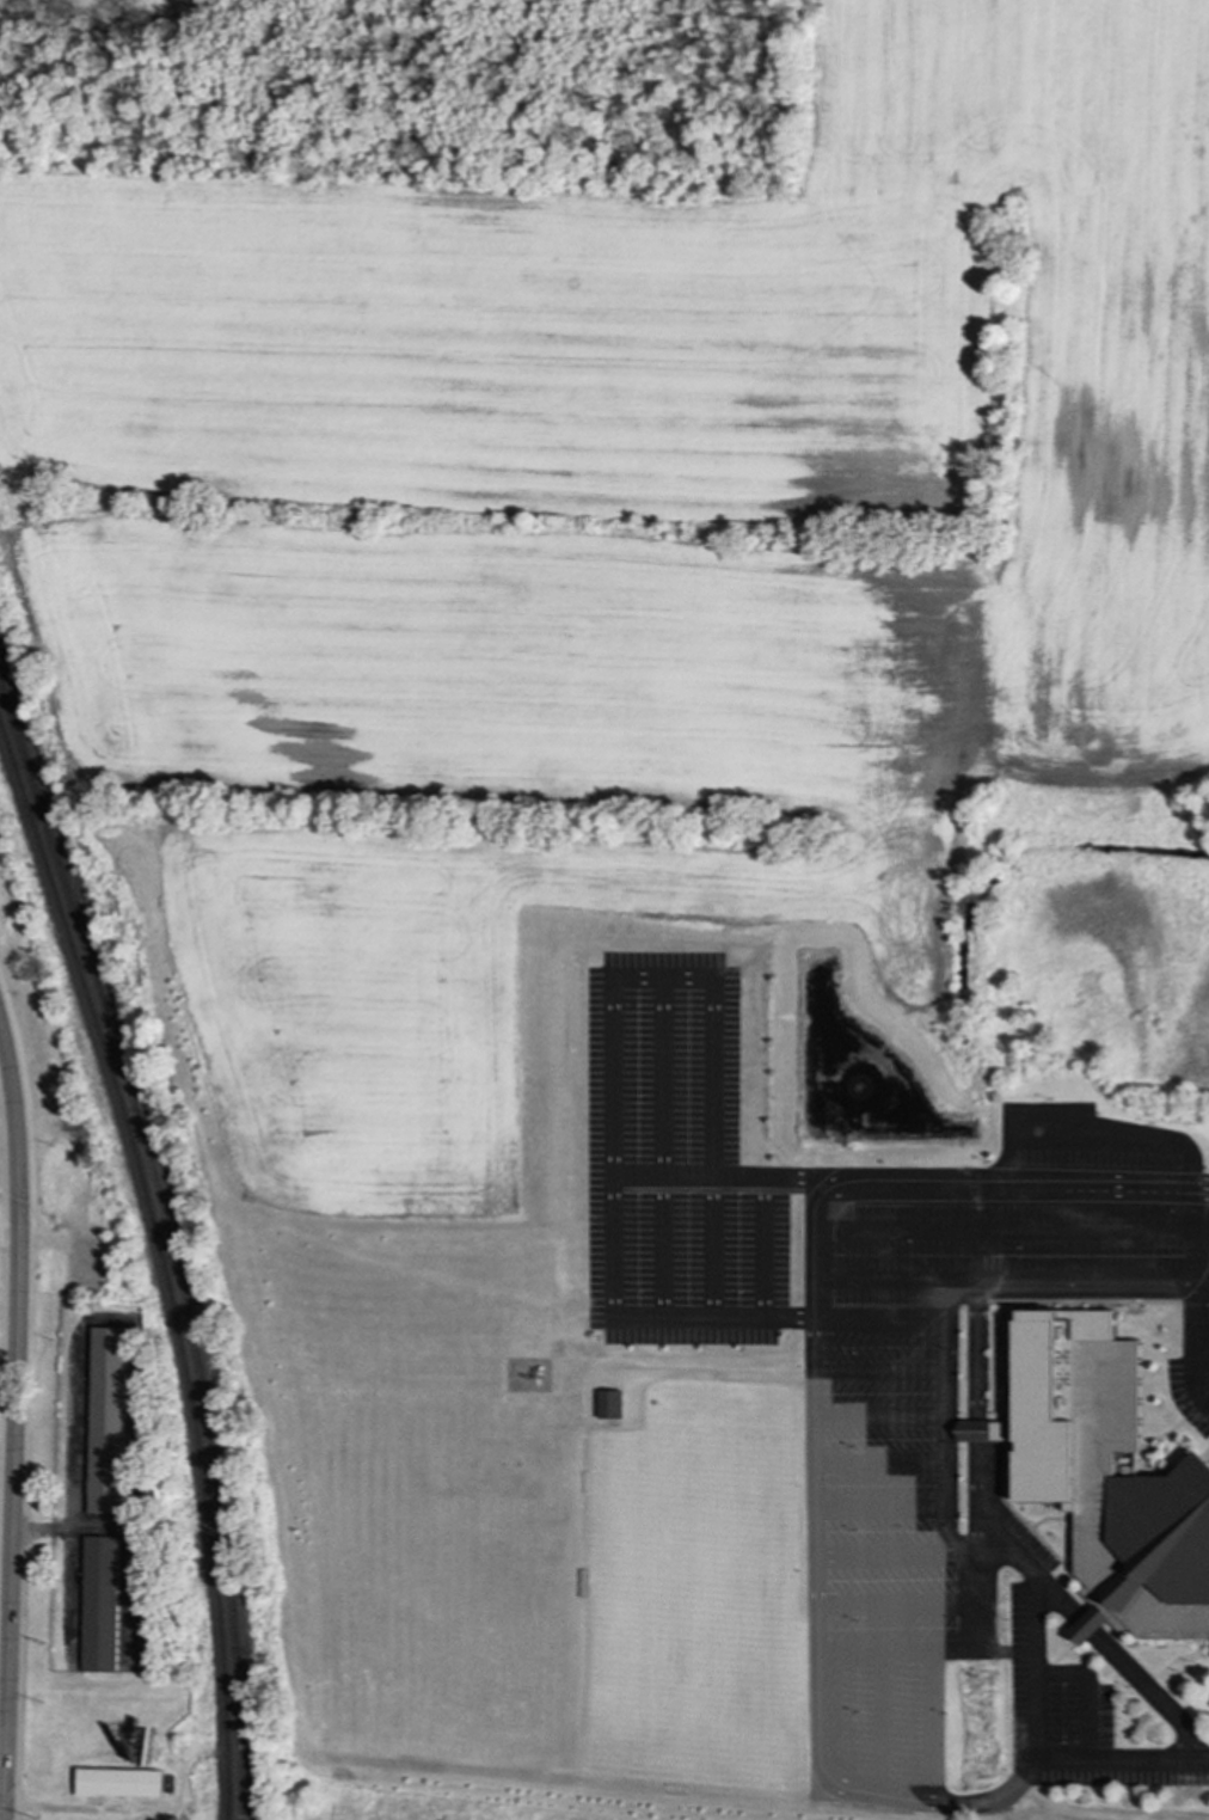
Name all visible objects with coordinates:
crop: (609, 549)
road: (949, 1181)
road: (612, 1239)
road: (10, 1242)
railway: (170, 1244)
railway: (162, 1263)
road: (1137, 1288)
road: (951, 1298)
road: (877, 1319)
road: (1197, 1346)
road: (974, 1355)
building: (609, 1404)
building: (106, 1420)
road: (16, 1421)
road: (975, 1432)
building: (1109, 1473)
road: (975, 1494)
road: (816, 1540)
road: (962, 1546)
road: (962, 1561)
road: (1055, 1600)
building: (99, 1604)
road: (5, 1616)
building: (1088, 1624)
road: (1085, 1629)
road: (1035, 1635)
building: (146, 1638)
road: (1085, 1692)
road: (1148, 1693)
road: (876, 1722)
road: (928, 1726)
road: (1122, 1760)
building: (118, 1783)
road: (866, 1793)
road: (988, 1801)

